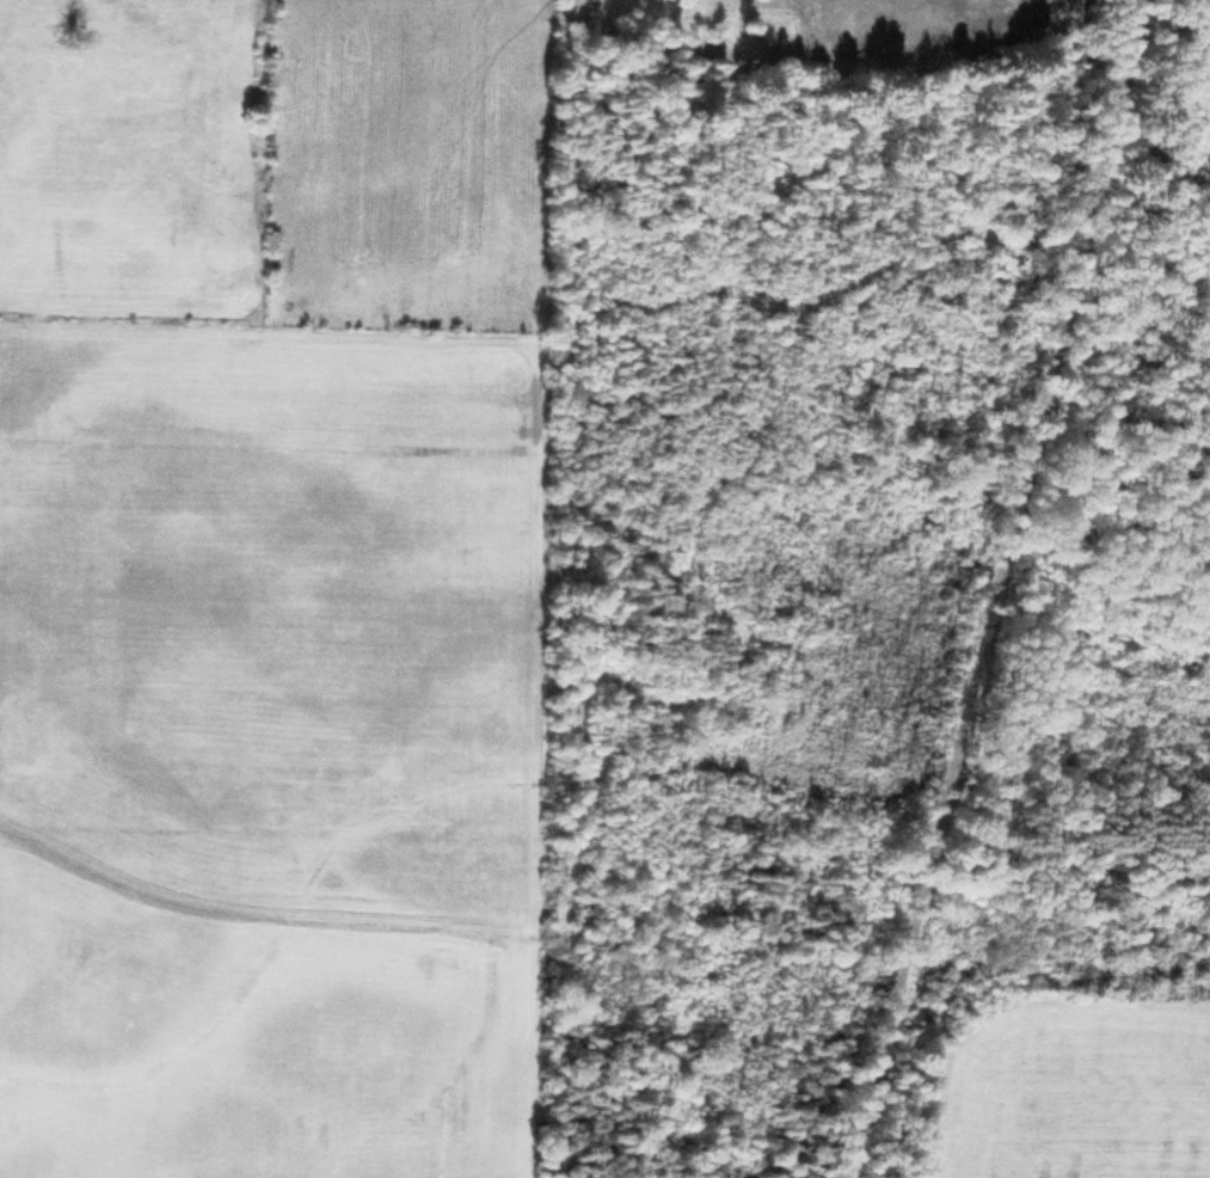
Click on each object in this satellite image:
road: (991, 589)

